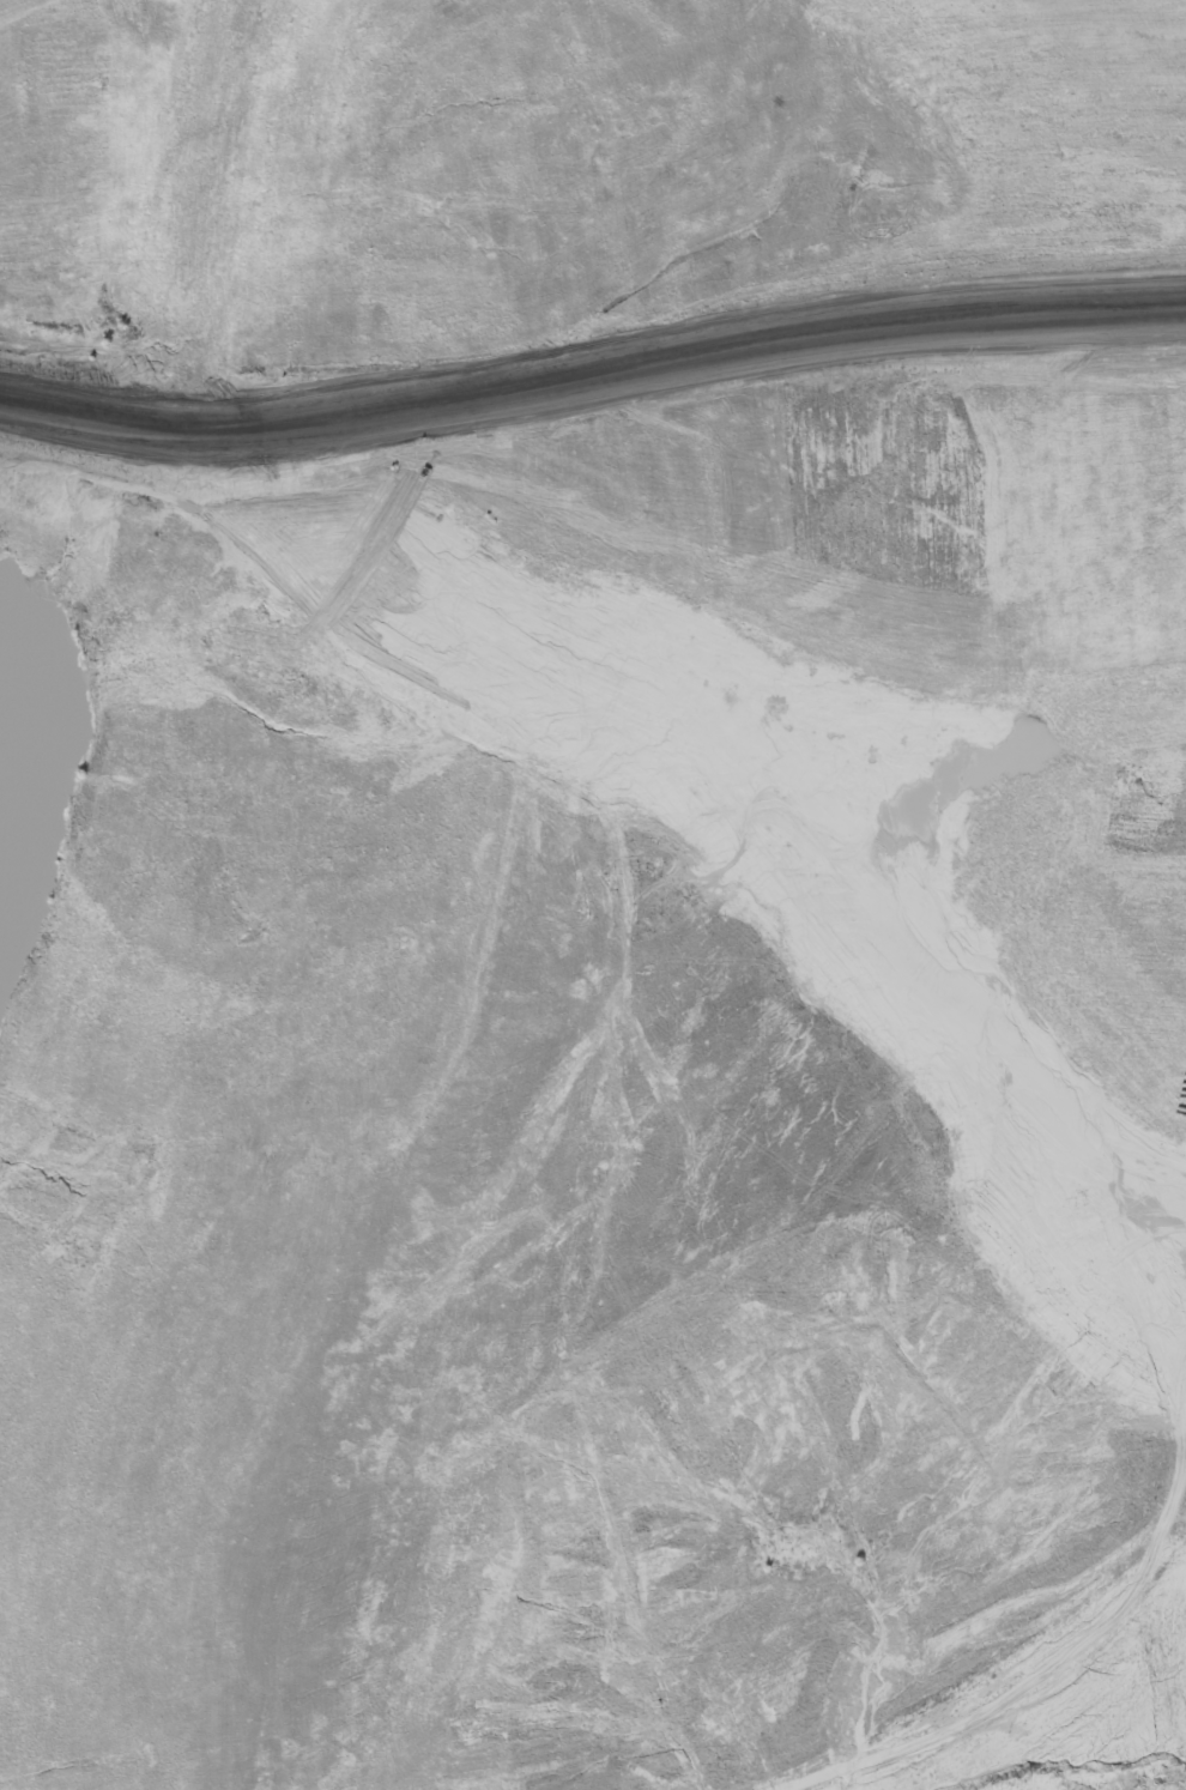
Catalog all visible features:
quarry: (549, 877)

